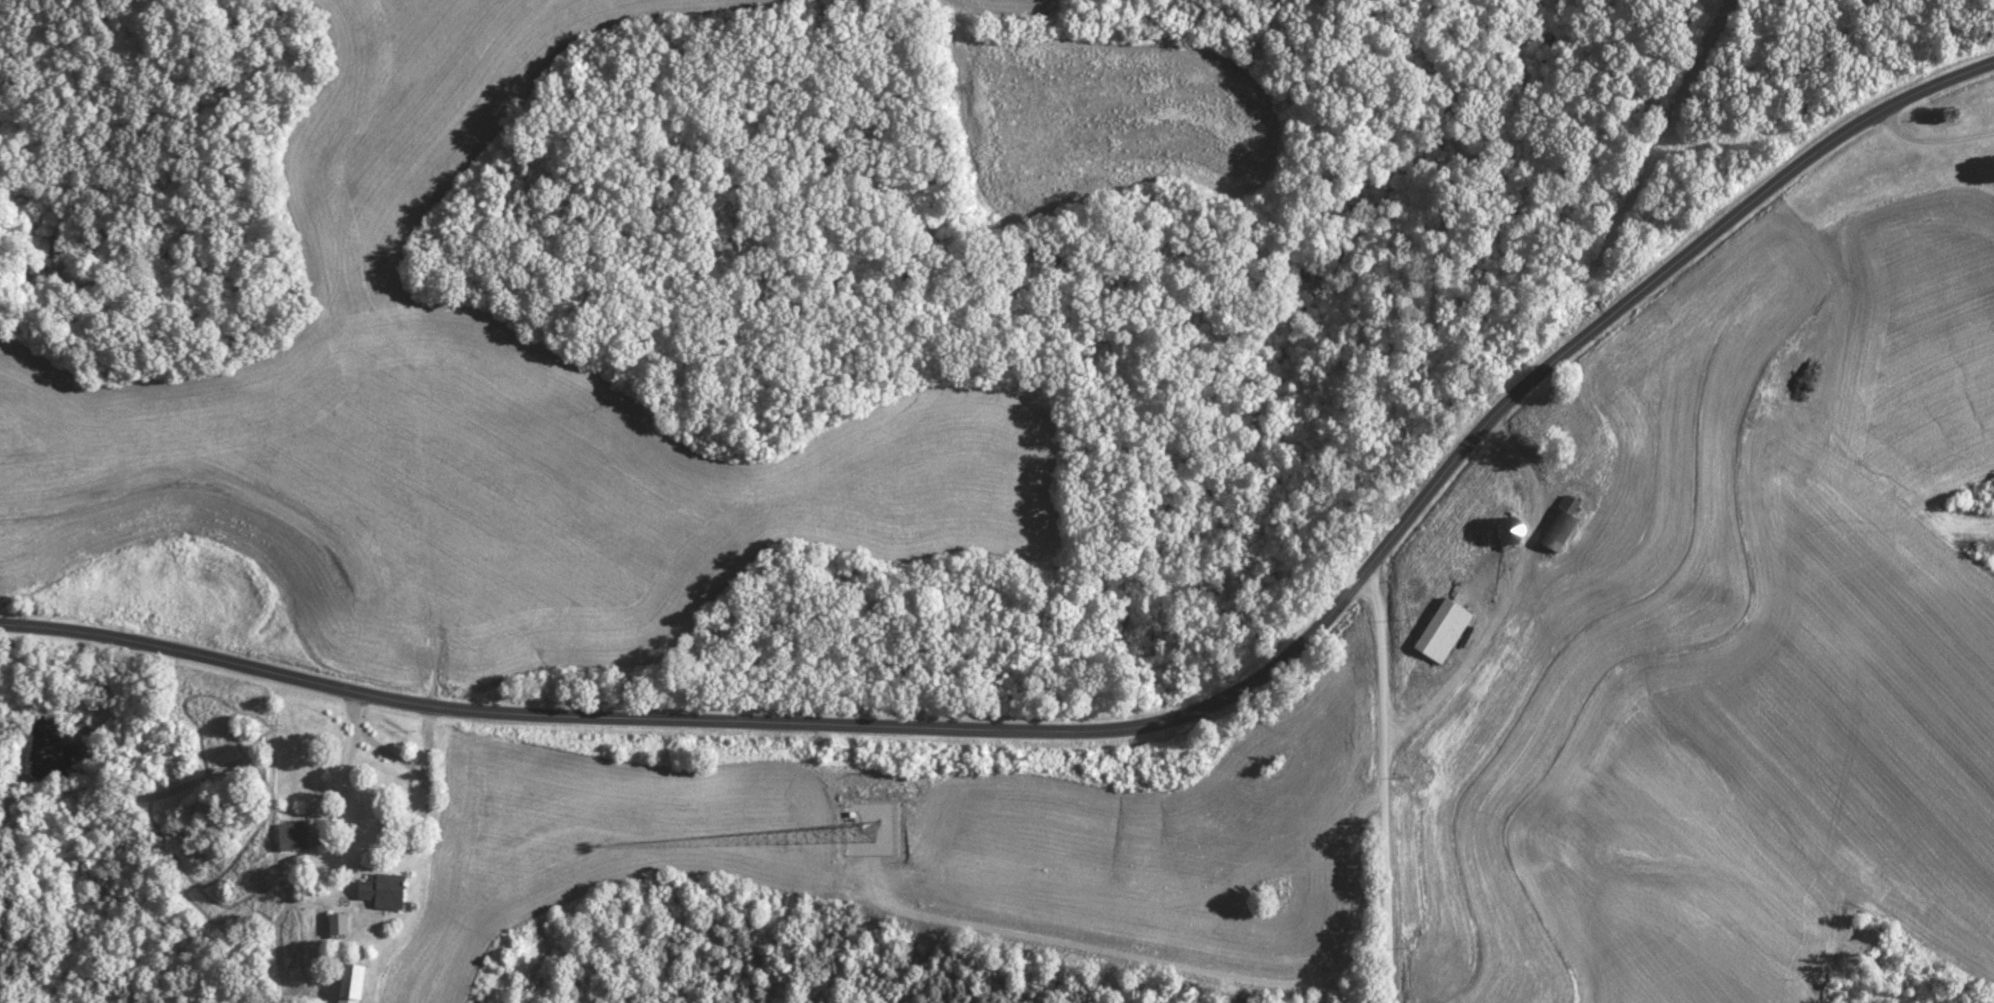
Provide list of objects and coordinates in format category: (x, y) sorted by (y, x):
road: (1934, 140)
building: (1554, 526)
road: (1509, 592)
building: (1437, 632)
road: (1115, 732)
road: (1388, 785)
road: (347, 793)
building: (293, 837)
building: (387, 891)
building: (341, 924)
building: (355, 983)

